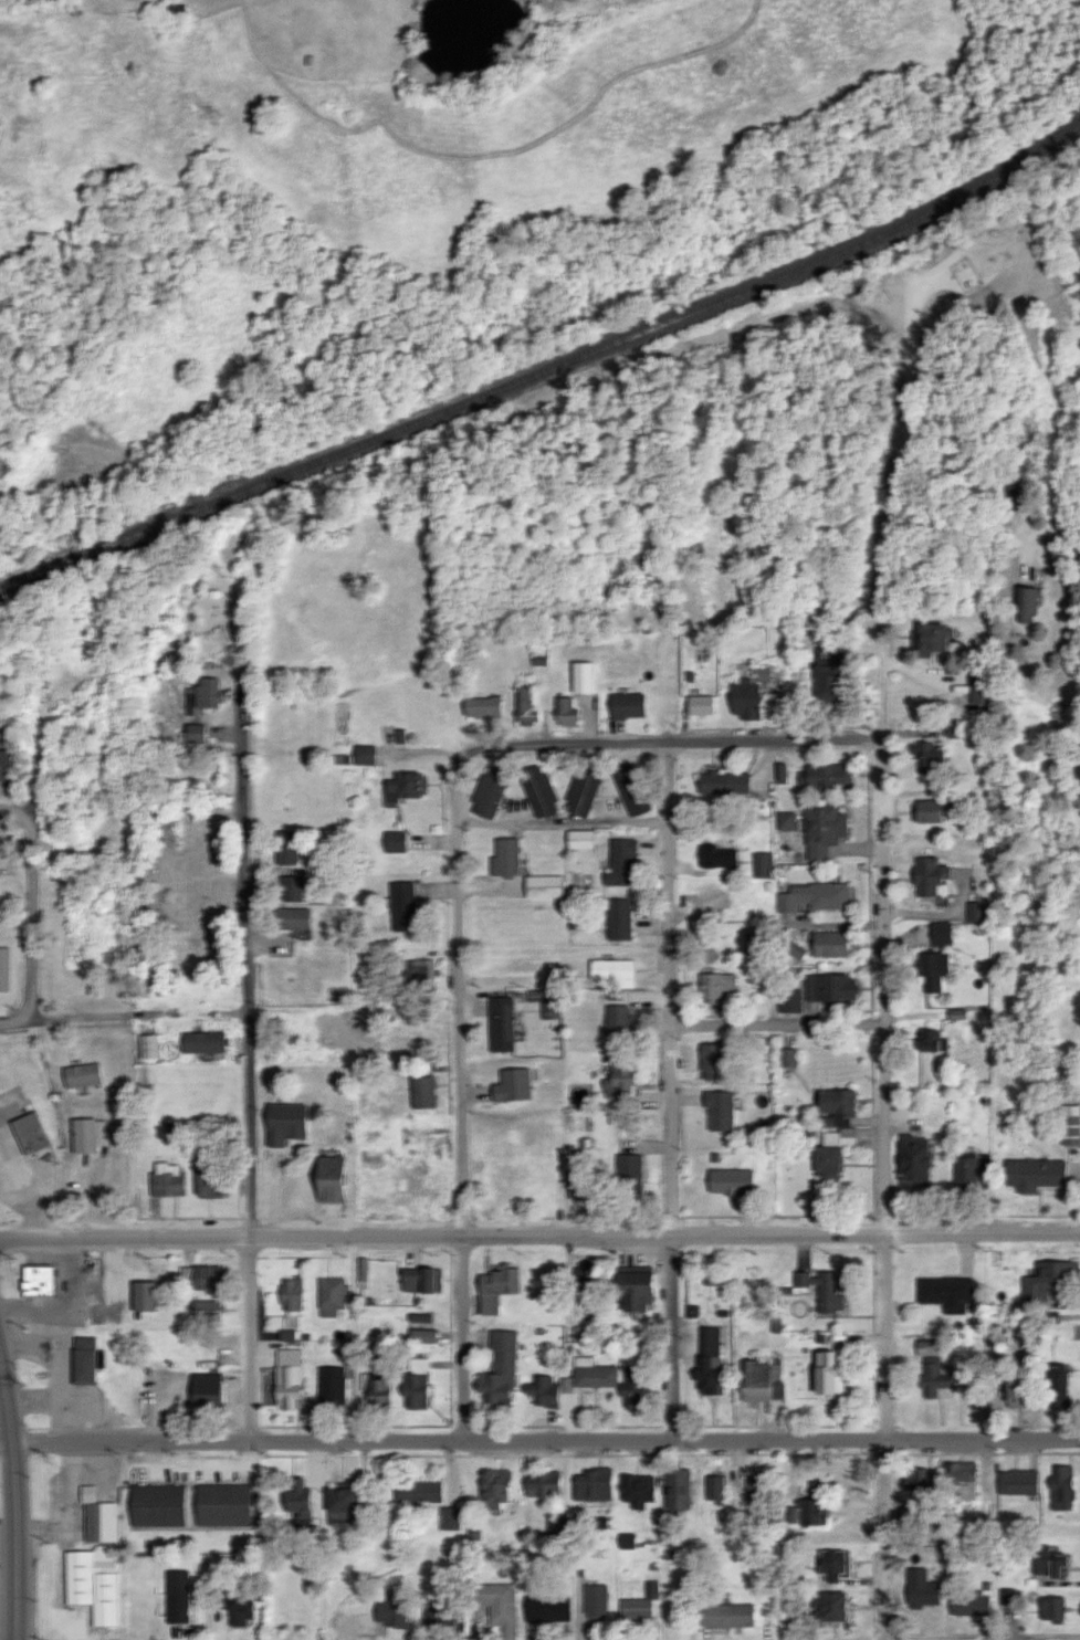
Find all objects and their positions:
building: (34, 0)
building: (176, 7)
building: (0, 345)
railway: (546, 372)
building: (1027, 602)
building: (927, 637)
building: (826, 675)
building: (583, 676)
building: (979, 687)
building: (743, 698)
building: (699, 704)
building: (628, 705)
building: (483, 706)
building: (527, 706)
building: (566, 712)
building: (196, 733)
road: (669, 743)
building: (929, 749)
building: (366, 754)
road: (27, 757)
building: (2, 765)
building: (780, 771)
building: (826, 776)
building: (723, 781)
building: (405, 786)
building: (583, 789)
building: (628, 789)
building: (538, 790)
building: (489, 791)
building: (926, 810)
road: (13, 812)
building: (786, 820)
building: (822, 828)
building: (579, 839)
building: (395, 841)
building: (287, 847)
building: (716, 855)
building: (504, 856)
building: (620, 862)
building: (763, 864)
building: (929, 875)
building: (545, 885)
building: (292, 887)
building: (815, 896)
building: (402, 905)
building: (975, 911)
road: (35, 913)
building: (292, 918)
building: (619, 918)
building: (941, 933)
building: (830, 943)
building: (798, 950)
building: (3, 968)
building: (615, 970)
building: (933, 970)
building: (421, 973)
building: (717, 985)
building: (830, 987)
building: (616, 995)
building: (790, 1000)
building: (547, 1001)
road: (124, 1015)
building: (618, 1019)
building: (501, 1023)
road: (745, 1029)
road: (669, 1031)
building: (201, 1041)
building: (931, 1041)
building: (150, 1045)
building: (790, 1058)
building: (713, 1060)
building: (81, 1074)
building: (620, 1080)
building: (512, 1084)
building: (422, 1092)
road: (252, 1097)
building: (835, 1107)
building: (719, 1110)
building: (283, 1123)
building: (1070, 1124)
building: (29, 1133)
building: (87, 1134)
building: (831, 1150)
road: (883, 1157)
building: (912, 1160)
building: (628, 1173)
building: (965, 1173)
building: (1034, 1174)
building: (328, 1178)
building: (169, 1180)
building: (730, 1180)
building: (210, 1181)
road: (460, 1194)
road: (539, 1238)
building: (366, 1272)
building: (588, 1275)
building: (207, 1276)
building: (709, 1278)
building: (421, 1280)
building: (1048, 1280)
building: (36, 1281)
building: (497, 1287)
building: (635, 1287)
building: (821, 1289)
building: (946, 1292)
building: (292, 1294)
building: (145, 1295)
building: (333, 1295)
building: (207, 1311)
building: (287, 1334)
building: (422, 1336)
building: (927, 1346)
building: (85, 1359)
building: (709, 1362)
building: (500, 1370)
building: (594, 1373)
building: (827, 1373)
building: (936, 1378)
building: (291, 1379)
building: (764, 1380)
building: (418, 1383)
building: (1057, 1384)
building: (333, 1386)
building: (207, 1387)
building: (1019, 1387)
building: (543, 1390)
building: (379, 1391)
building: (631, 1391)
road: (539, 1443)
building: (925, 1478)
building: (909, 1481)
building: (963, 1481)
building: (1017, 1482)
building: (543, 1483)
building: (593, 1484)
building: (714, 1487)
building: (494, 1489)
building: (677, 1489)
building: (754, 1489)
building: (1062, 1489)
building: (638, 1490)
building: (419, 1491)
road: (21, 1493)
building: (298, 1499)
building: (223, 1504)
building: (157, 1505)
building: (811, 1506)
building: (99, 1516)
building: (450, 1518)
building: (475, 1532)
building: (626, 1541)
building: (1041, 1558)
building: (835, 1564)
building: (1059, 1564)
building: (96, 1581)
building: (921, 1589)
building: (178, 1596)
building: (596, 1601)
building: (497, 1605)
building: (969, 1605)
building: (830, 1606)
building: (237, 1608)
building: (547, 1608)
building: (636, 1608)
building: (1051, 1608)
building: (390, 1612)
building: (727, 1616)

